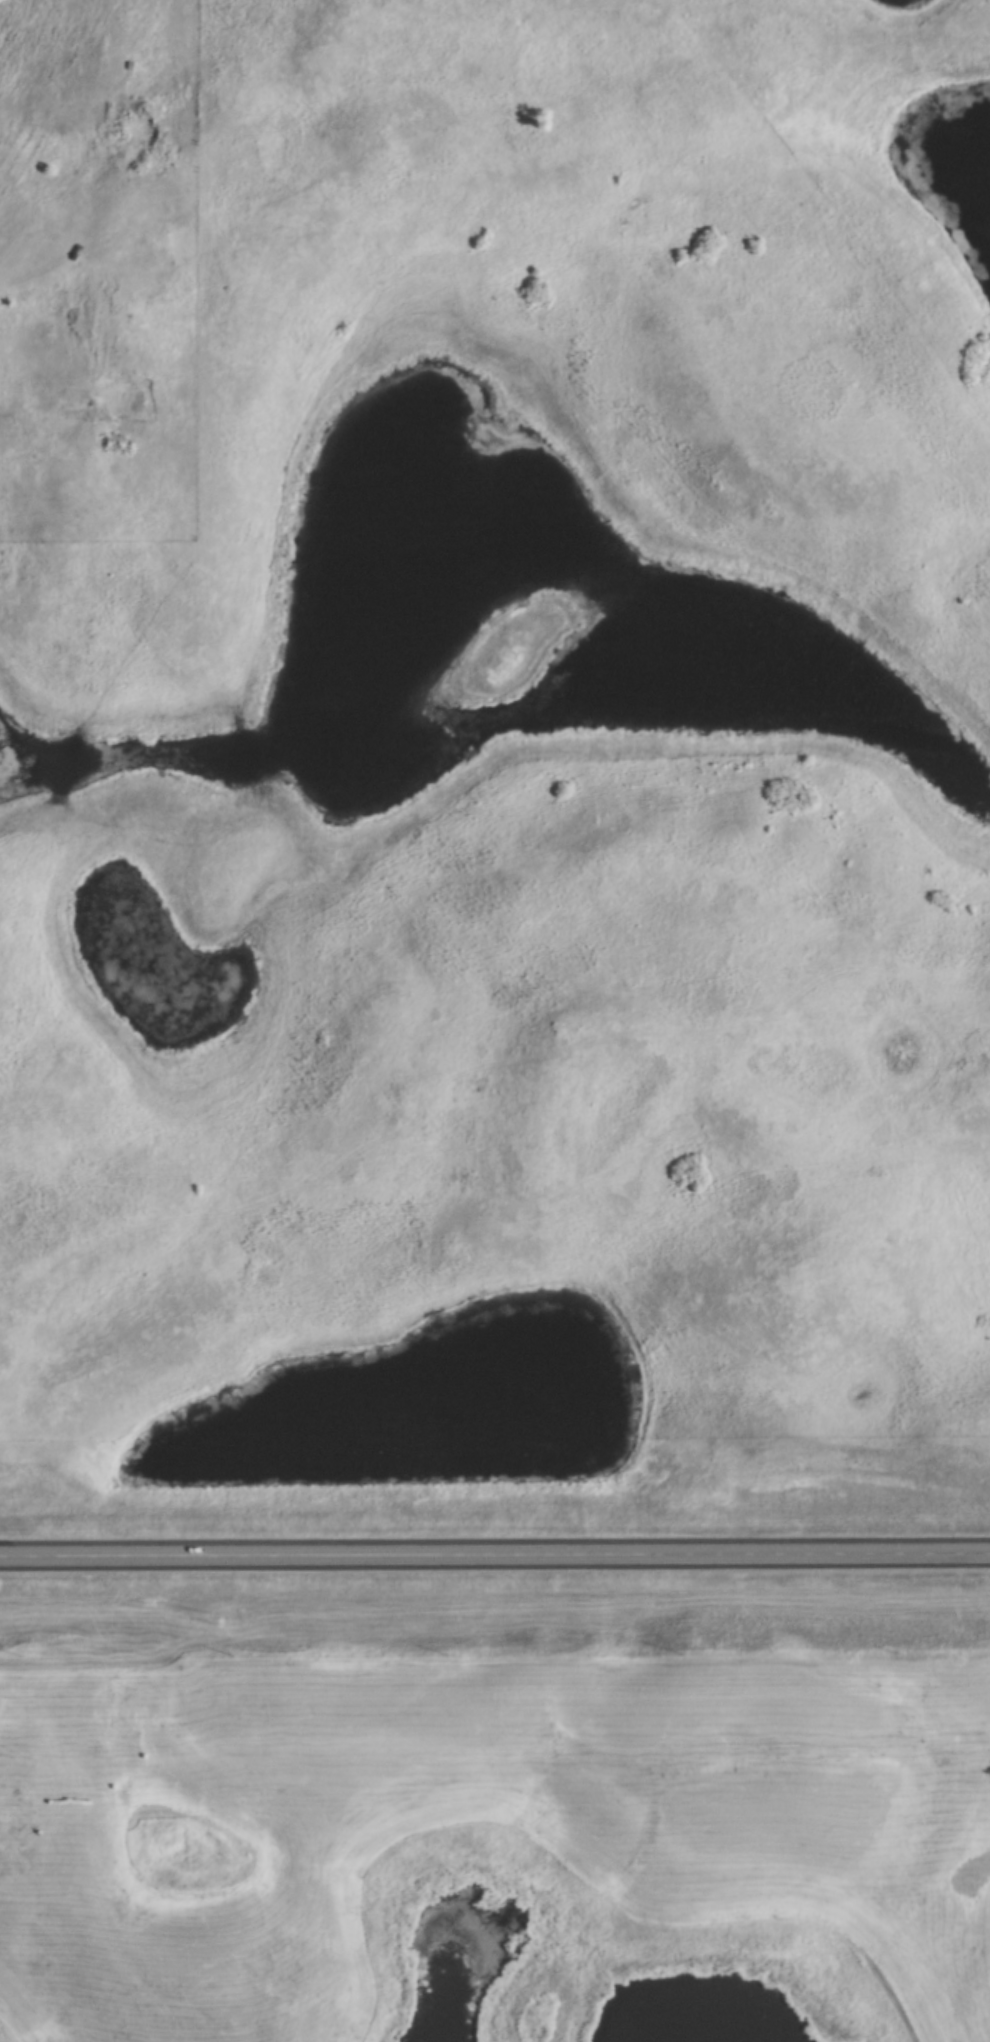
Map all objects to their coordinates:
road: (494, 1547)

